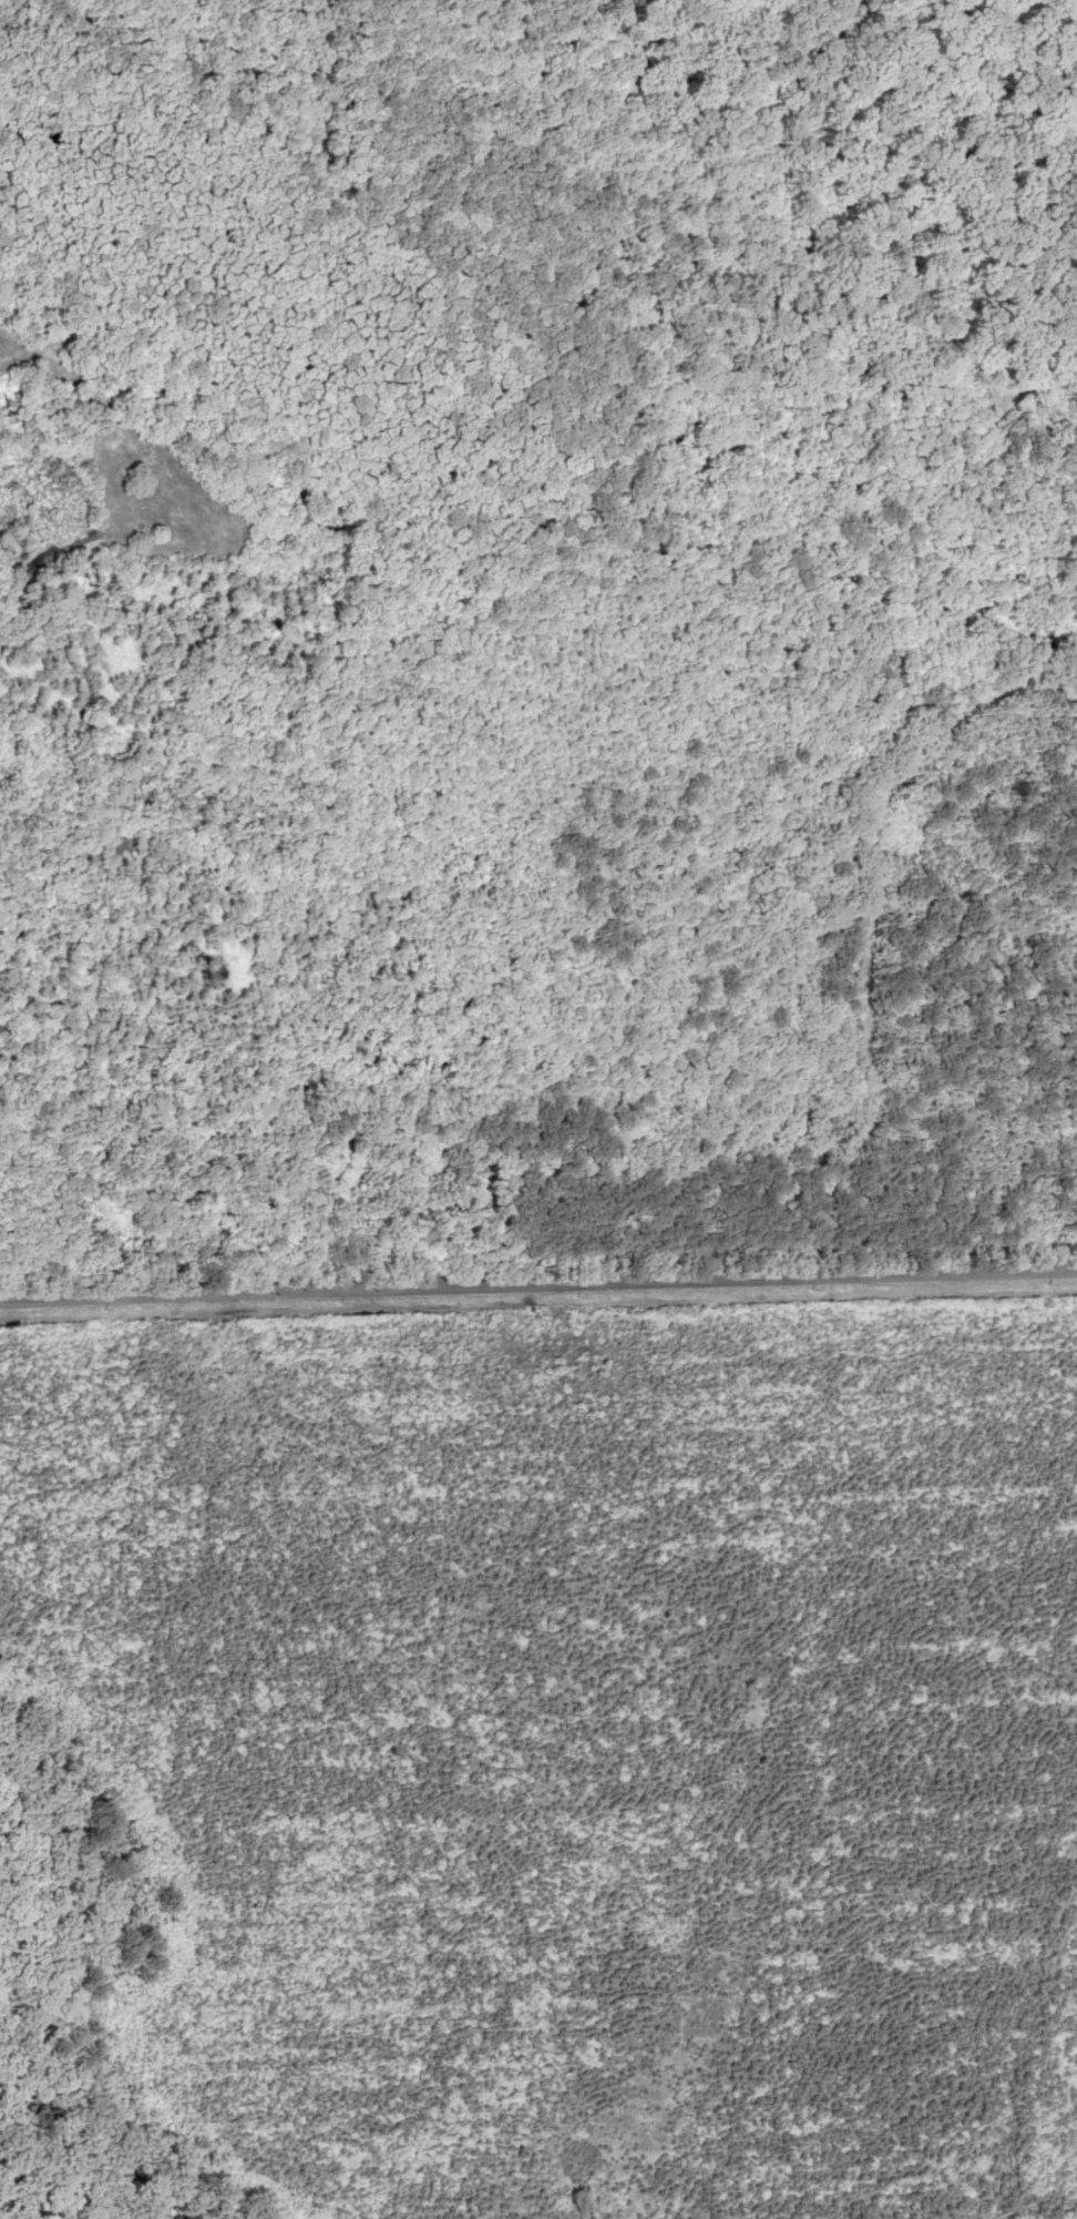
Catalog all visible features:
road: (38, 577)
road: (538, 1284)

